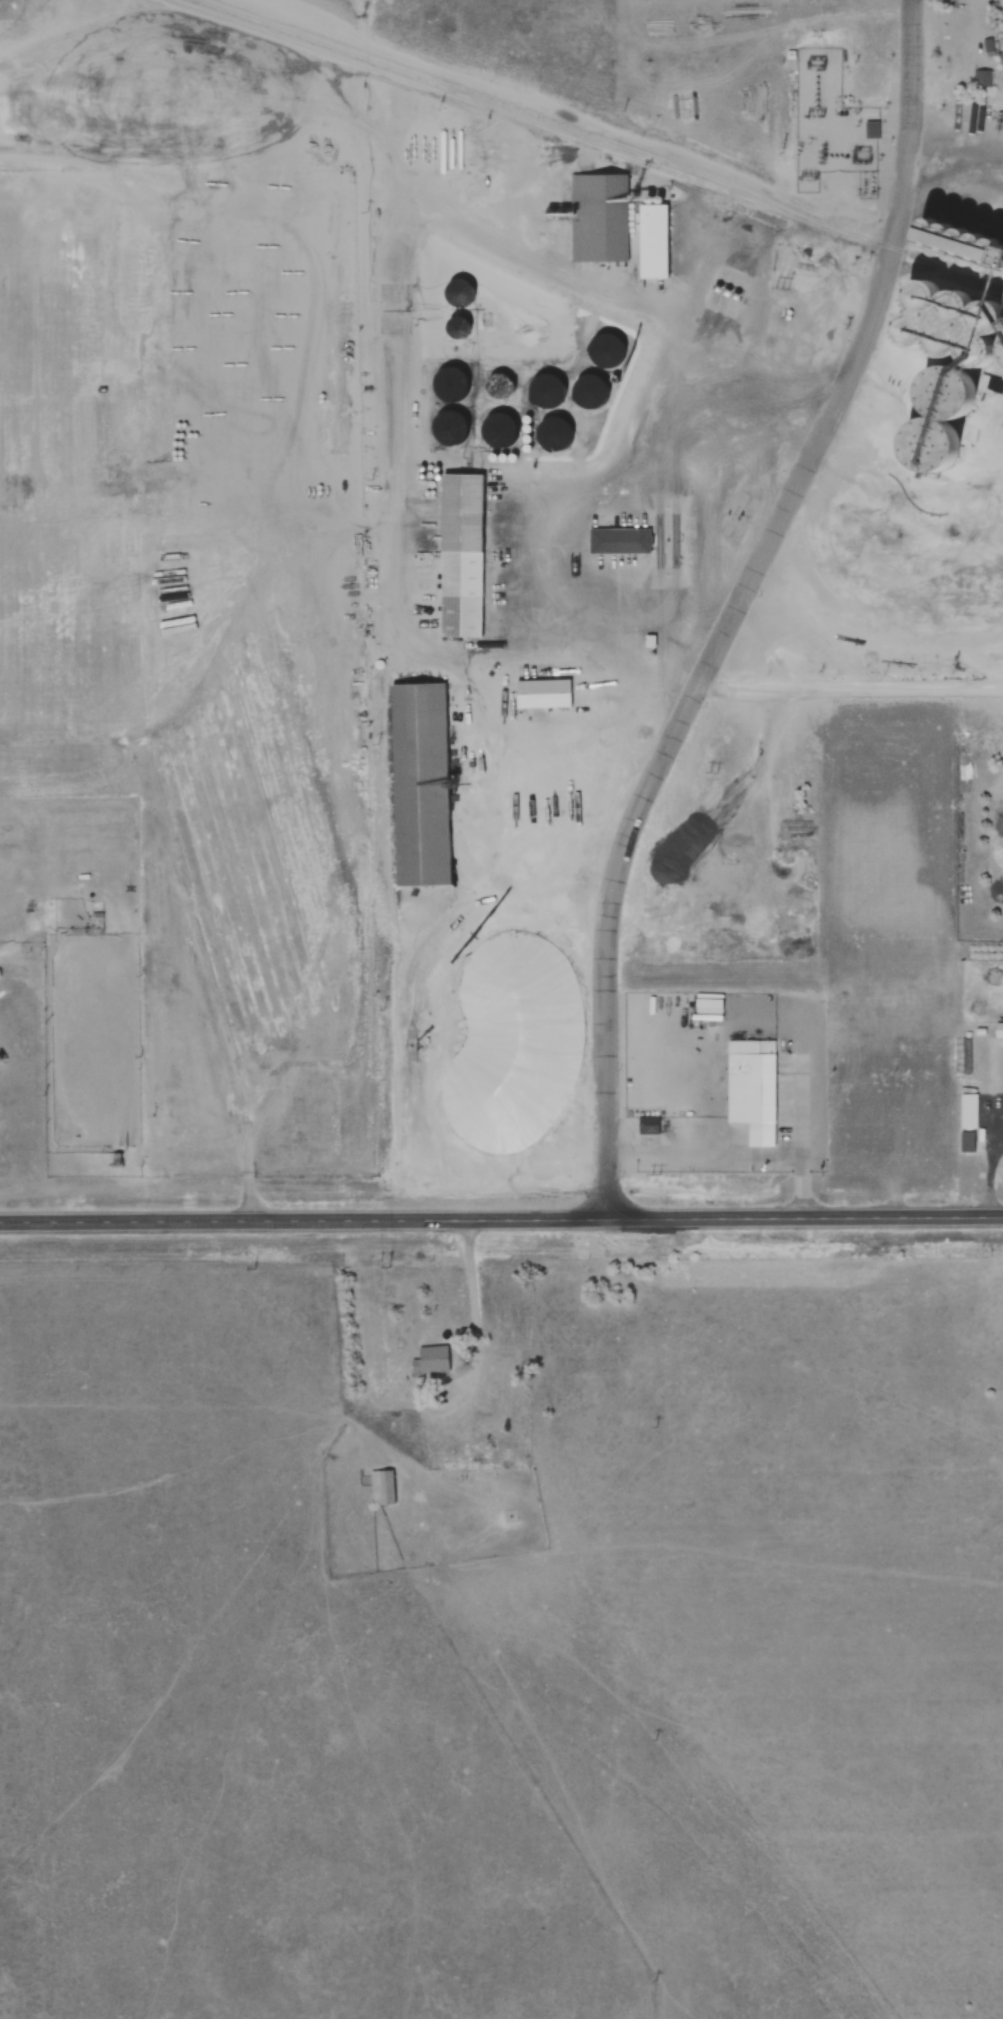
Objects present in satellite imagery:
building: (981, 80)
railway: (496, 102)
road: (566, 115)
power substation: (832, 115)
road: (913, 118)
railway: (587, 144)
road: (956, 153)
building: (598, 217)
building: (651, 241)
building: (493, 388)
building: (442, 431)
building: (493, 434)
building: (457, 513)
building: (616, 541)
building: (538, 693)
road: (850, 694)
road: (685, 713)
building: (417, 784)
building: (847, 1030)
building: (997, 1030)
building: (903, 1046)
building: (966, 1056)
building: (754, 1086)
building: (872, 1130)
building: (968, 1143)
road: (501, 1220)
road: (477, 1317)
building: (430, 1361)
building: (383, 1488)

